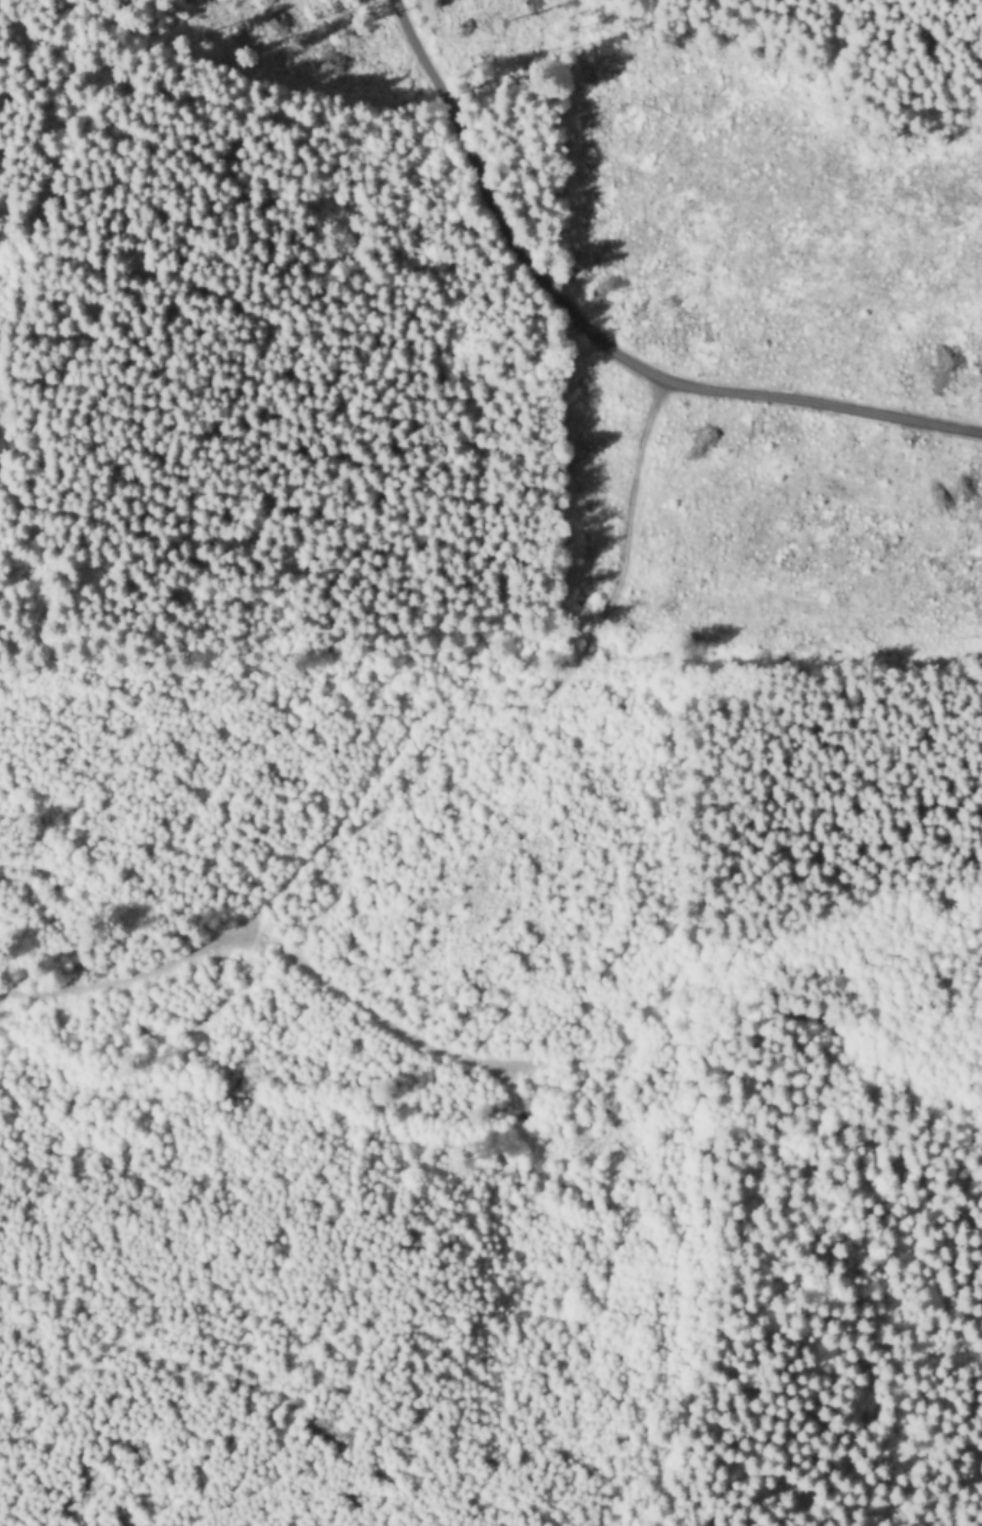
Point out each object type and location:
road: (599, 342)
road: (97, 966)

